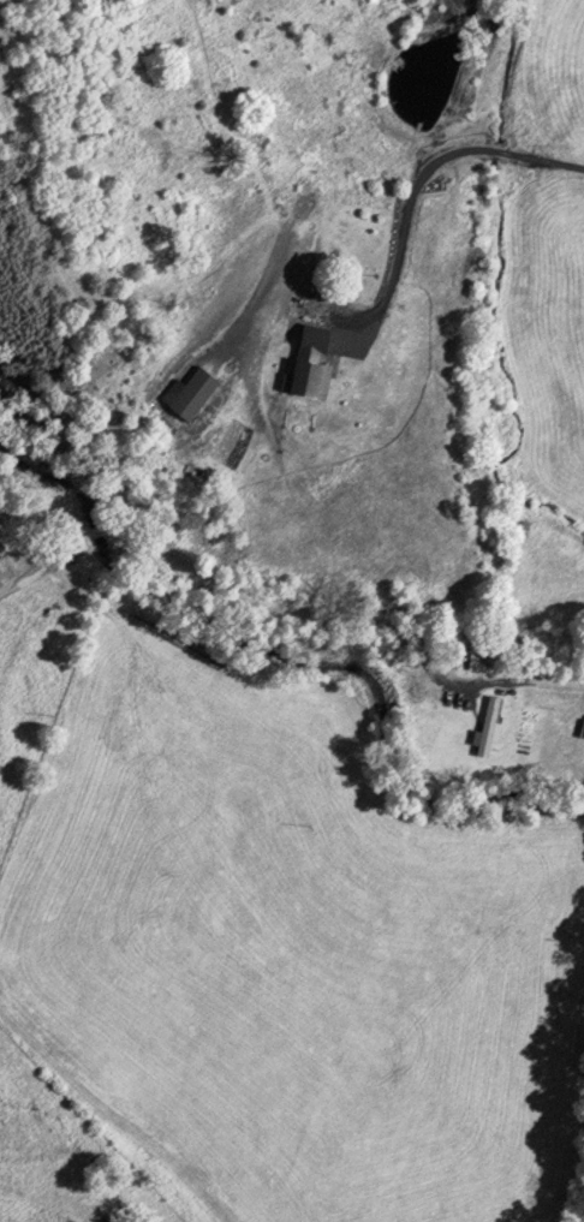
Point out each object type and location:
road: (421, 178)
building: (306, 359)
building: (190, 394)
road: (274, 601)
building: (487, 726)

